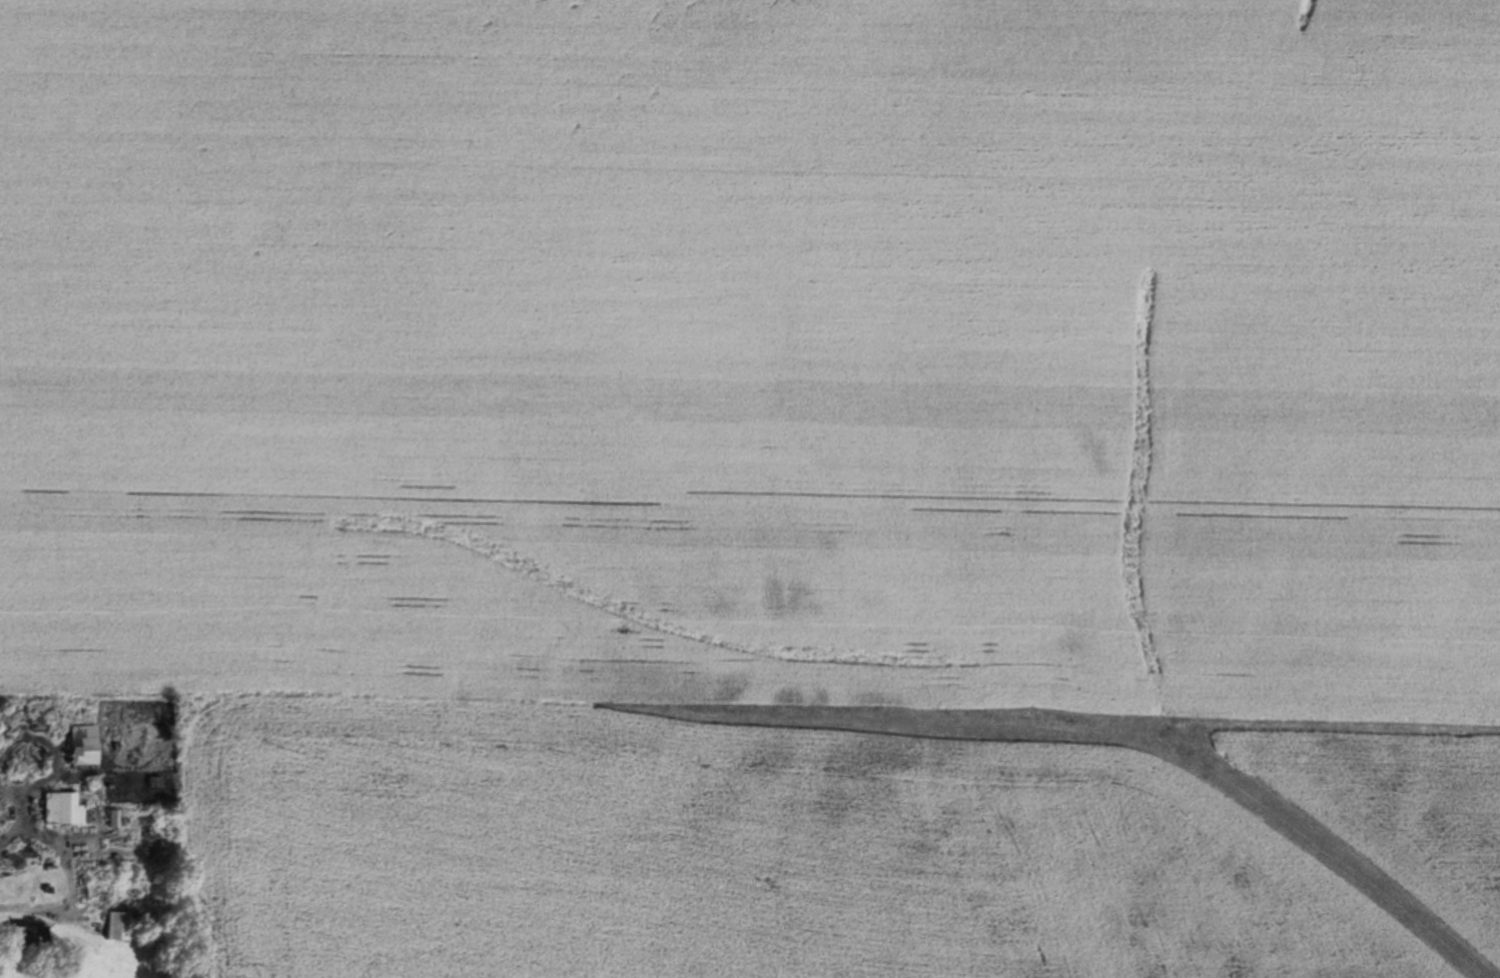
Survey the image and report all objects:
building: (86, 750)
building: (67, 807)
building: (120, 926)
building: (22, 936)

